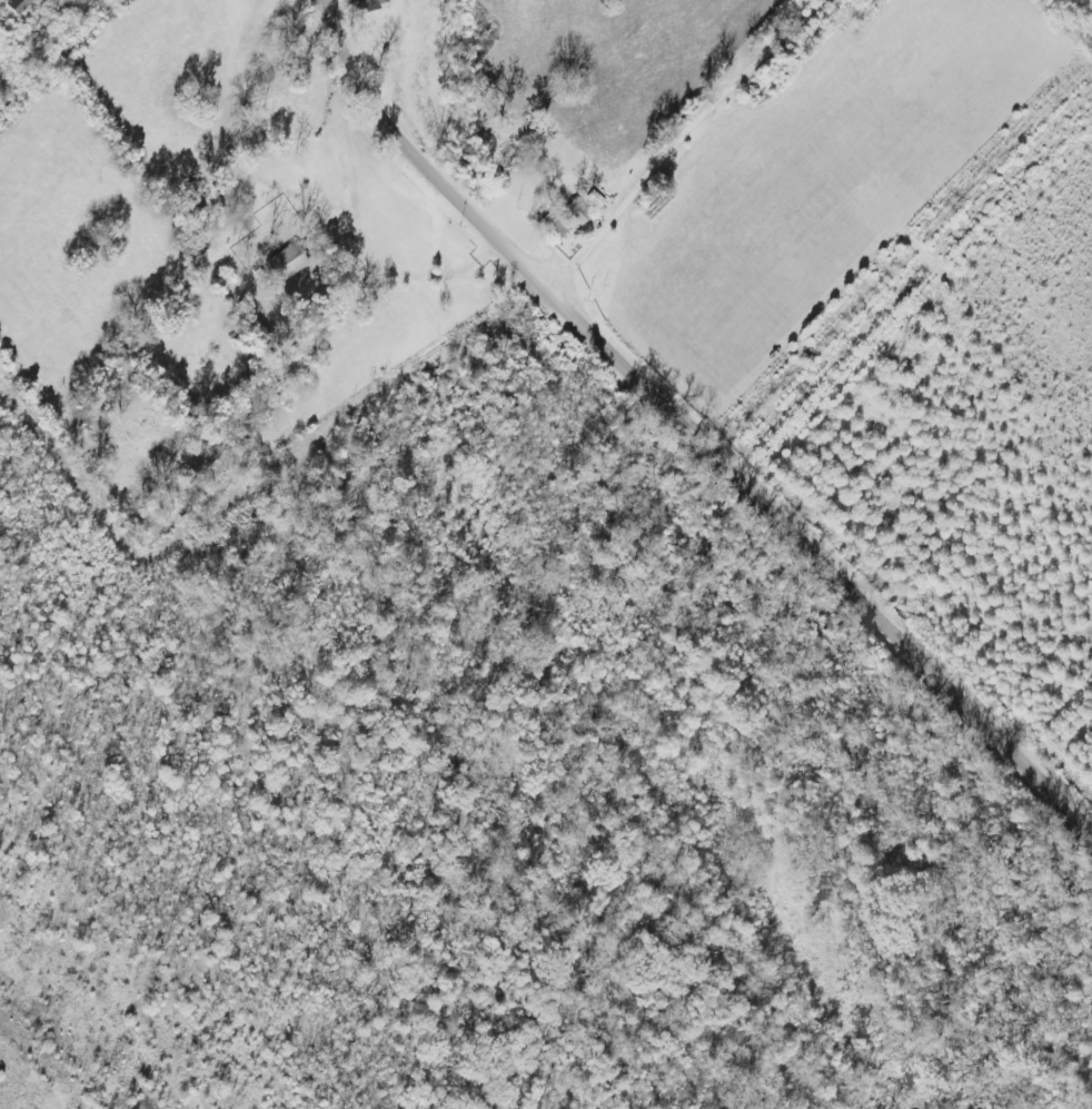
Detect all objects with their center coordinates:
building: (16, 7)
building: (361, 7)
road: (668, 132)
road: (405, 274)
road: (695, 422)

